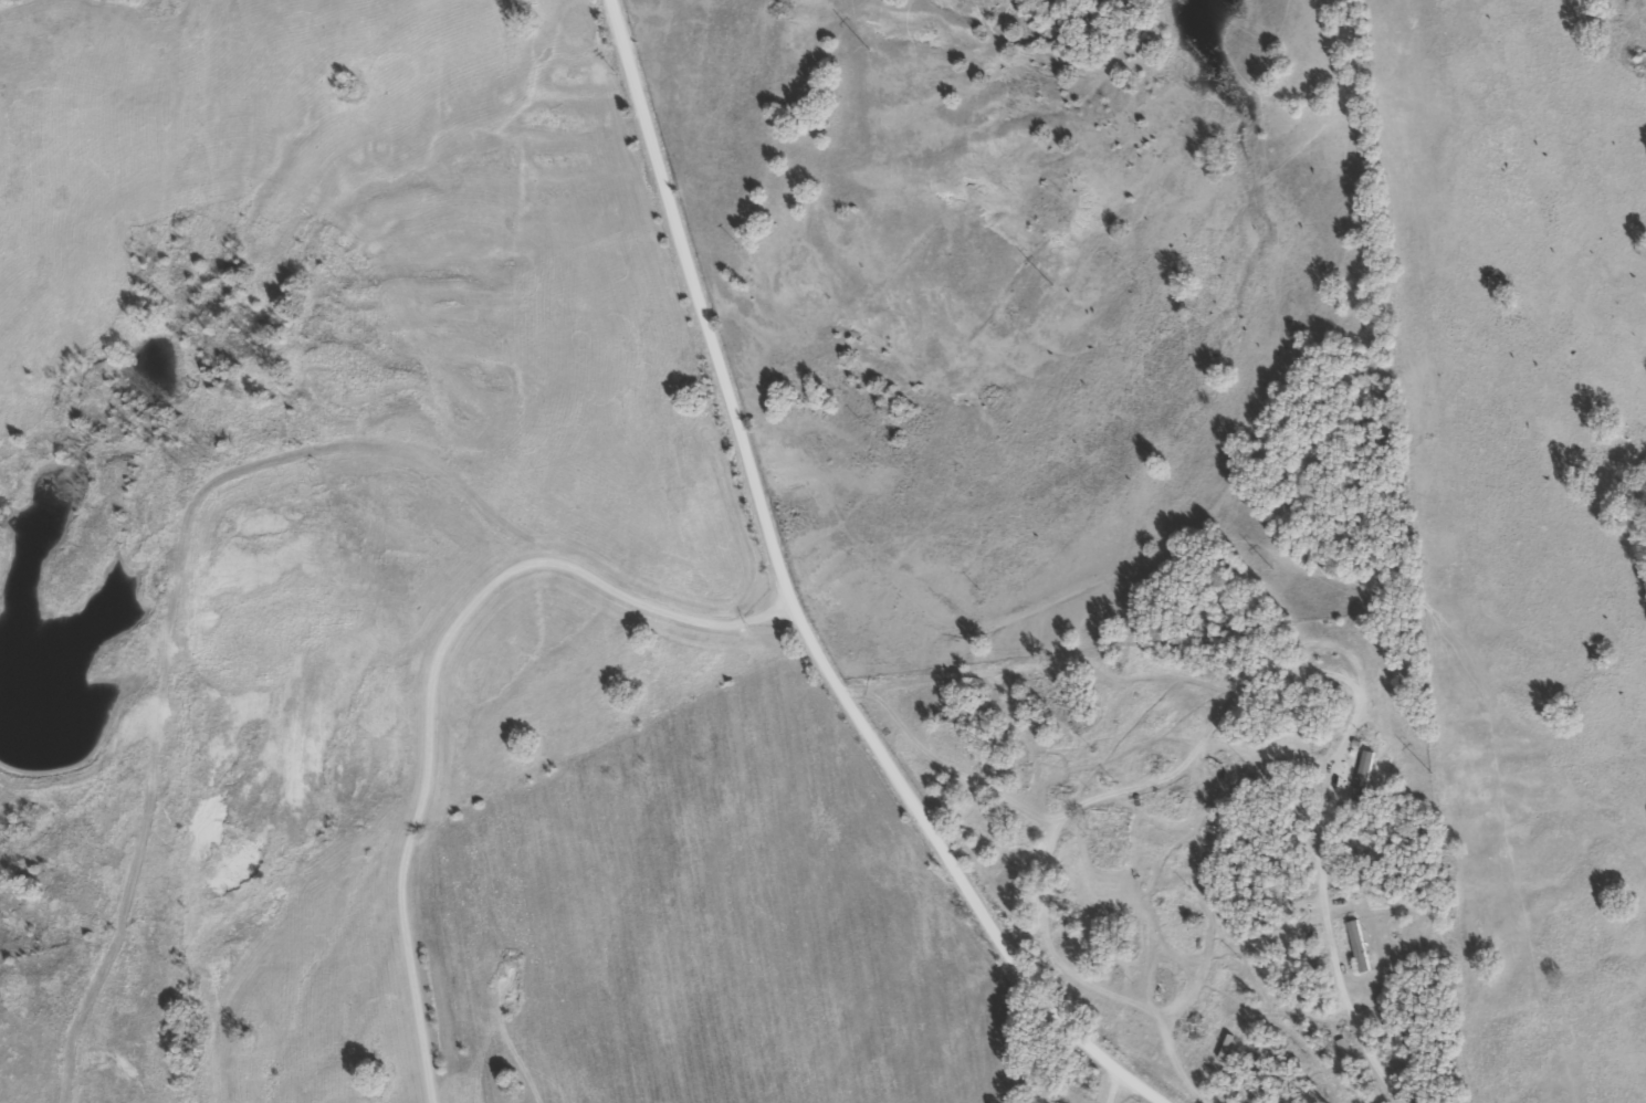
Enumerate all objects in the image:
road: (775, 606)
building: (1360, 776)
building: (1094, 847)
building: (1355, 946)

